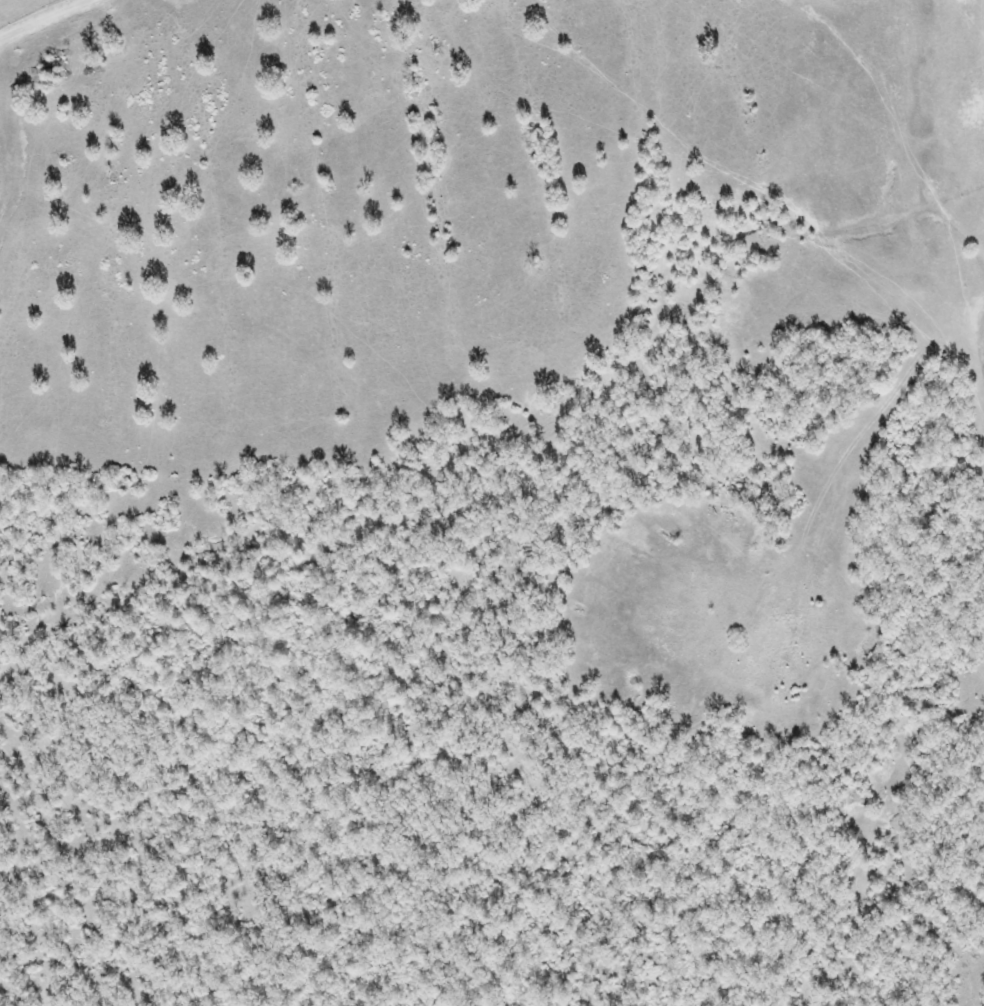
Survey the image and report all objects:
road: (52, 21)

